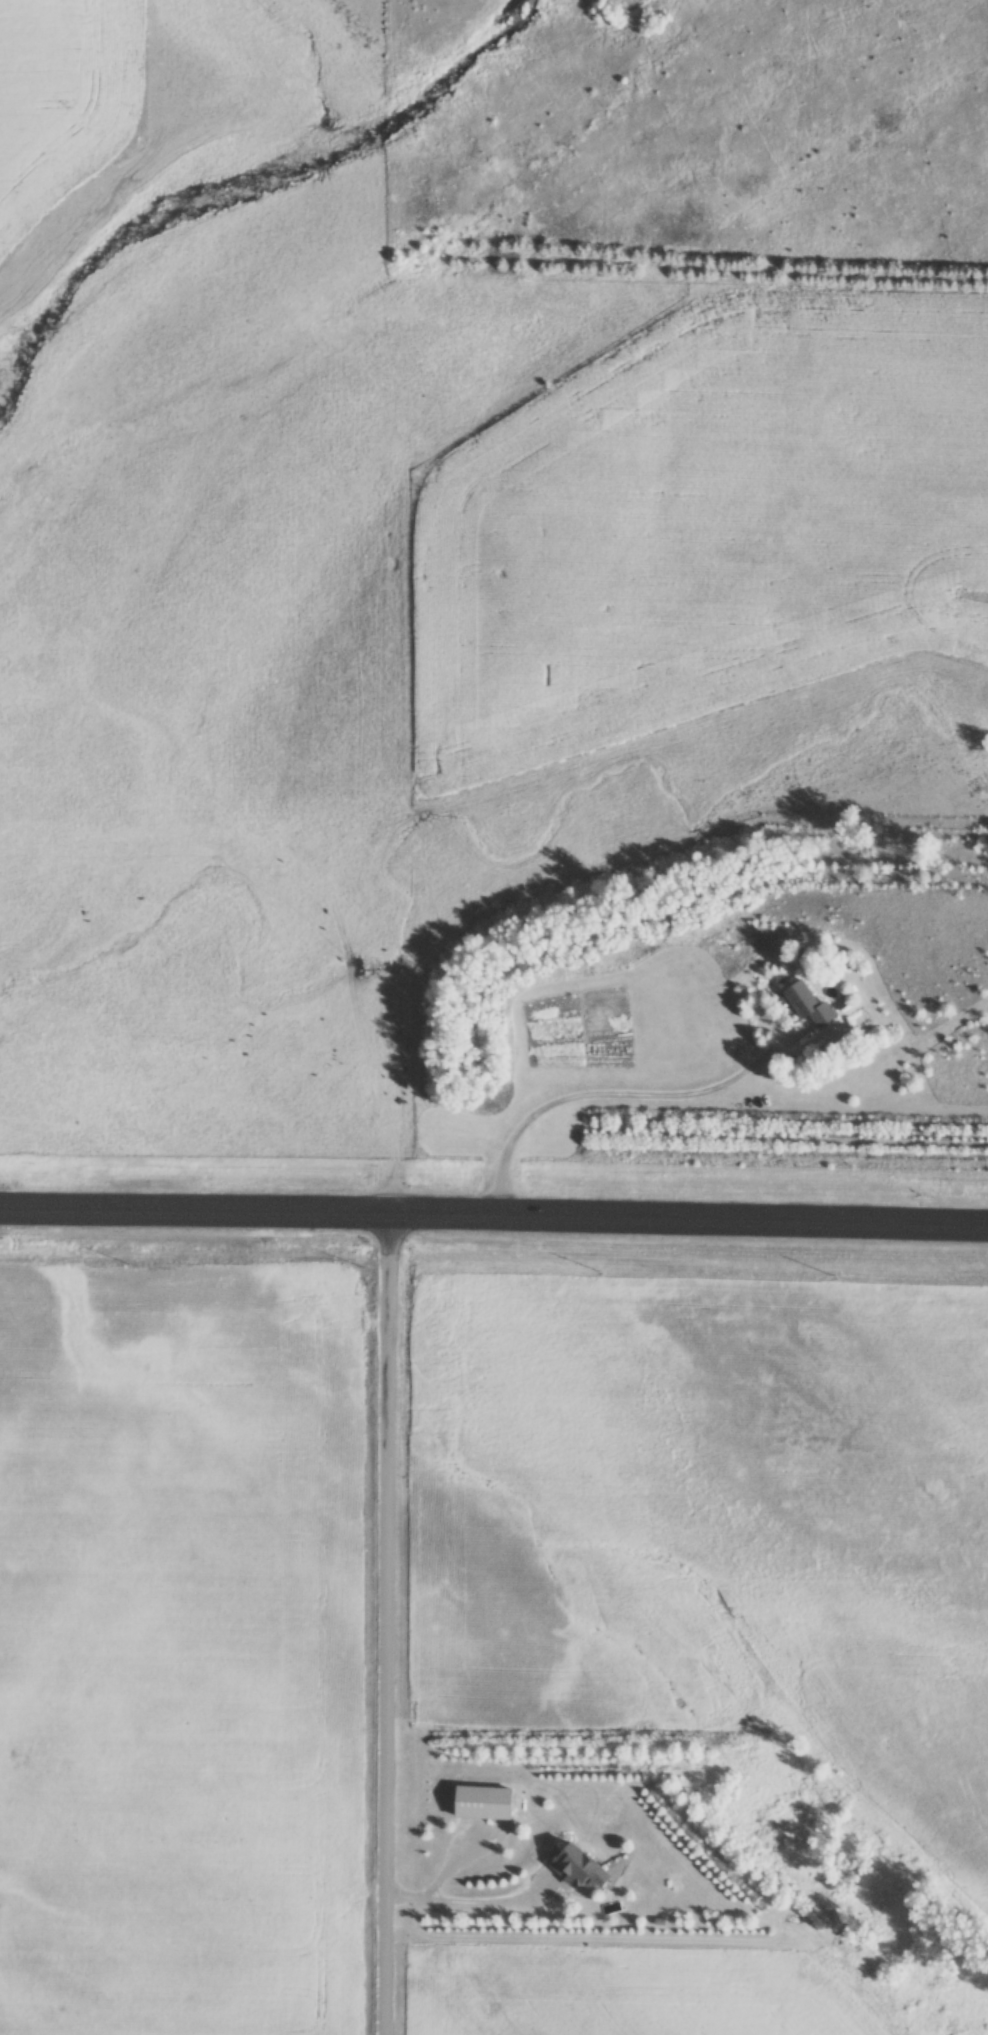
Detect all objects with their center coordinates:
crop: (703, 521)
building: (812, 1006)
road: (614, 1093)
road: (494, 1215)
road: (385, 1624)
building: (488, 1807)
building: (581, 1866)
road: (468, 1901)

